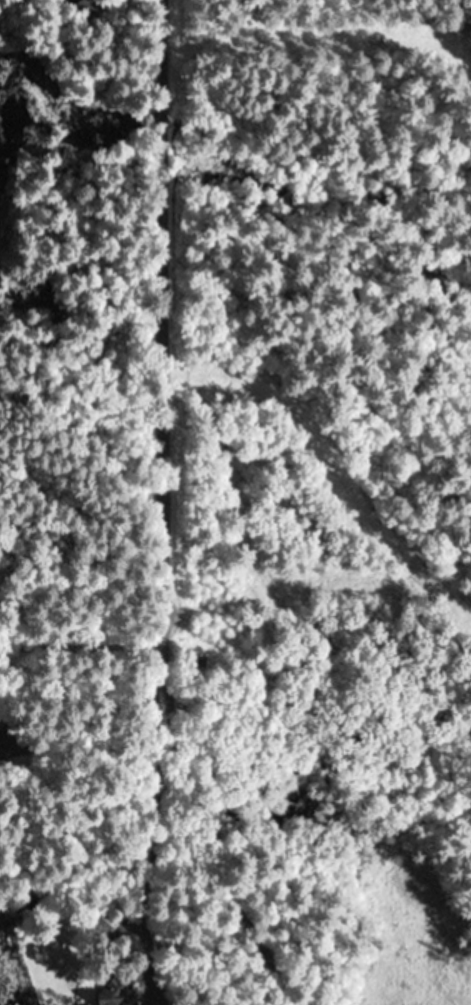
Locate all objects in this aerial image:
building: (88, 8)
road: (162, 385)
road: (157, 704)
building: (0, 729)
building: (115, 990)

